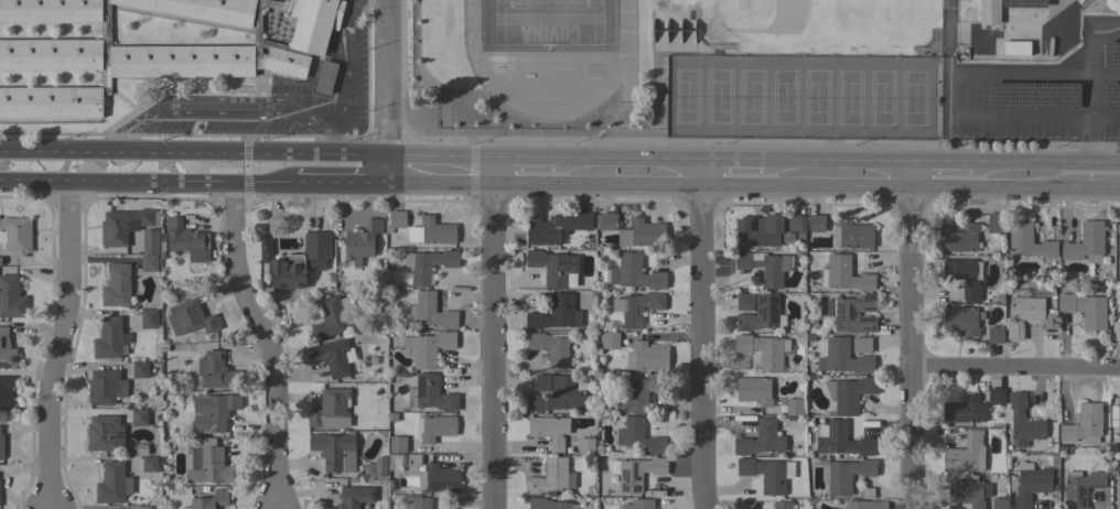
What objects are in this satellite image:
building: (1096, 0)
building: (1101, 0)
building: (1023, 3)
building: (988, 12)
park: (790, 18)
building: (1015, 47)
building: (150, 48)
building: (1111, 54)
track: (471, 59)
road: (346, 63)
road: (945, 69)
road: (1092, 76)
building: (325, 77)
road: (392, 77)
building: (1116, 89)
road: (955, 94)
park: (803, 97)
road: (215, 108)
road: (331, 142)
road: (524, 151)
road: (444, 152)
road: (626, 152)
road: (836, 152)
road: (940, 152)
road: (730, 153)
road: (164, 154)
road: (362, 154)
road: (1045, 154)
road: (392, 167)
road: (143, 180)
road: (755, 180)
road: (340, 183)
building: (396, 220)
building: (607, 221)
building: (794, 223)
building: (817, 223)
building: (993, 223)
building: (125, 225)
building: (556, 227)
building: (432, 231)
building: (760, 231)
building: (640, 234)
building: (15, 235)
building: (853, 235)
building: (800, 237)
building: (185, 238)
building: (787, 238)
building: (961, 239)
building: (1119, 239)
building: (150, 241)
building: (362, 241)
building: (1029, 241)
building: (1086, 242)
building: (297, 260)
building: (0, 261)
building: (148, 262)
building: (428, 264)
building: (764, 267)
building: (554, 268)
building: (635, 272)
building: (847, 274)
building: (965, 277)
building: (117, 286)
building: (955, 293)
building: (11, 297)
building: (744, 302)
building: (637, 307)
building: (1085, 310)
building: (430, 312)
building: (1022, 312)
building: (1119, 312)
building: (556, 313)
building: (761, 314)
building: (854, 314)
building: (149, 318)
building: (190, 318)
building: (329, 318)
building: (961, 320)
road: (498, 329)
road: (702, 331)
road: (912, 331)
building: (995, 335)
building: (108, 338)
building: (610, 340)
road: (269, 342)
road: (62, 344)
building: (861, 345)
building: (429, 348)
building: (553, 348)
building: (764, 350)
building: (7, 351)
building: (646, 356)
building: (333, 357)
building: (842, 357)
building: (140, 369)
building: (216, 371)
road: (1015, 371)
building: (541, 382)
building: (106, 387)
building: (754, 390)
building: (6, 392)
building: (430, 393)
building: (636, 393)
building: (850, 393)
building: (557, 396)
building: (995, 397)
building: (794, 407)
building: (330, 410)
building: (965, 410)
building: (213, 411)
building: (1117, 415)
building: (1111, 416)
building: (141, 418)
building: (1022, 421)
building: (1084, 424)
building: (434, 427)
building: (550, 431)
building: (105, 433)
building: (637, 437)
building: (761, 438)
building: (841, 440)
building: (397, 444)
building: (1, 446)
building: (585, 446)
building: (334, 452)
building: (966, 454)
building: (406, 463)
building: (149, 464)
building: (208, 464)
building: (375, 468)
building: (636, 473)
building: (764, 474)
building: (843, 474)
building: (551, 477)
building: (441, 478)
building: (112, 484)
building: (606, 484)
building: (1030, 484)
building: (1080, 488)
building: (1118, 489)
building: (968, 492)
building: (354, 497)
building: (211, 500)
building: (421, 503)
building: (549, 503)
building: (638, 503)
building: (999, 503)
building: (782, 505)
building: (865, 505)
building: (142, 507)

